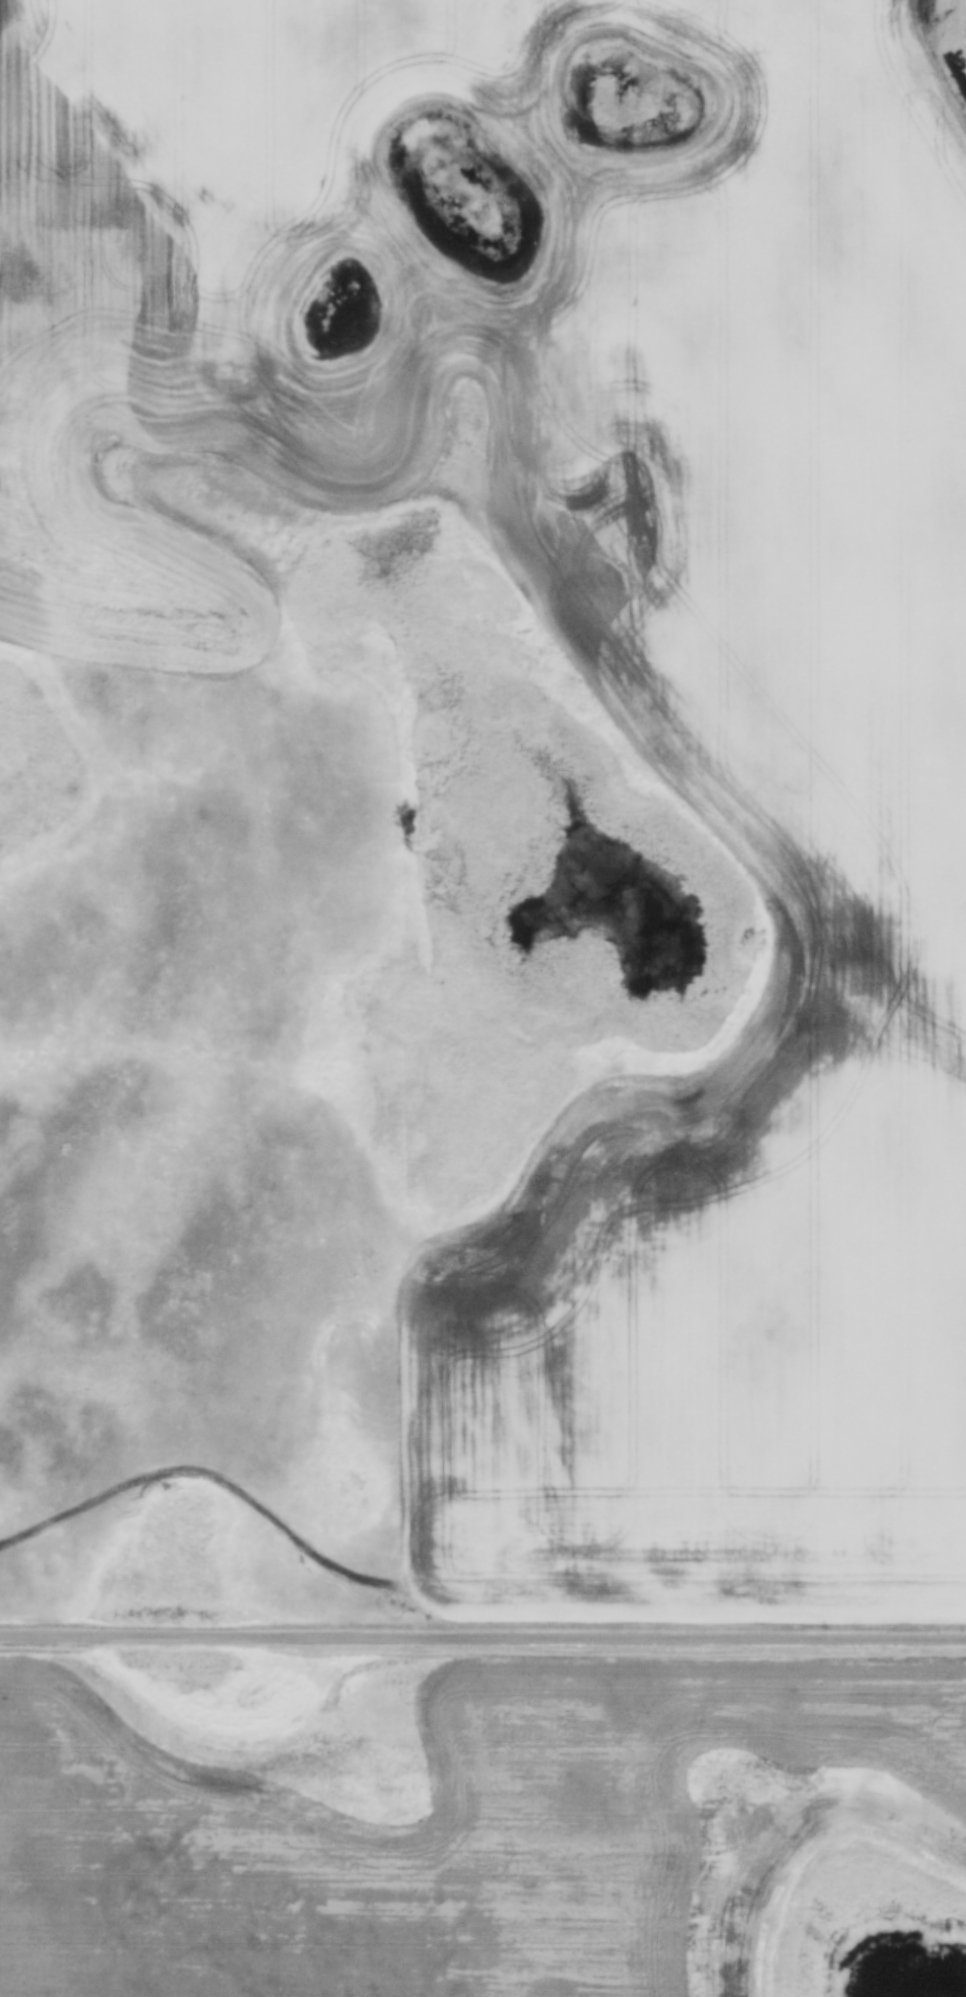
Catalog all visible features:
road: (483, 1634)

